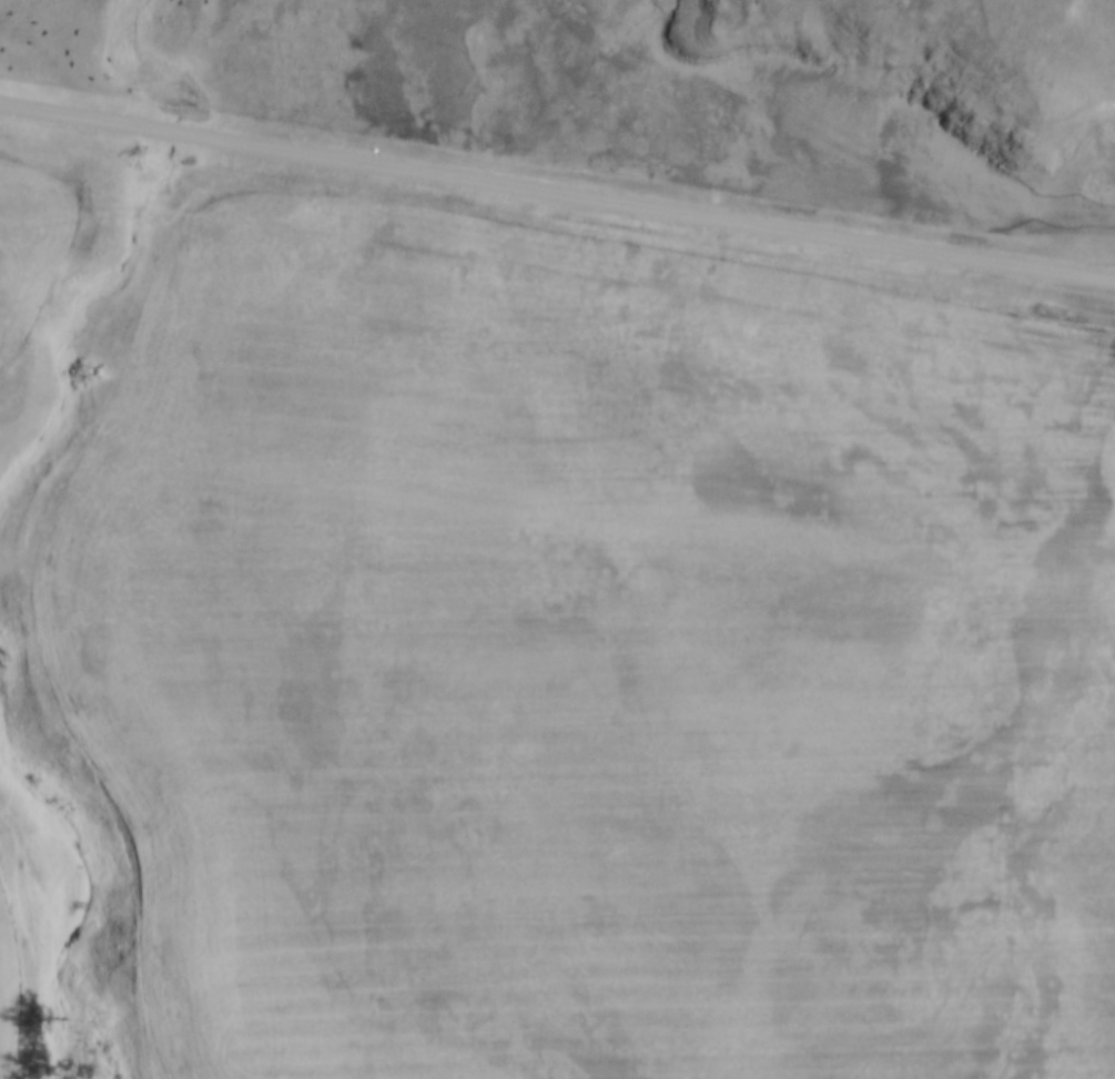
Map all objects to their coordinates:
road: (557, 189)

